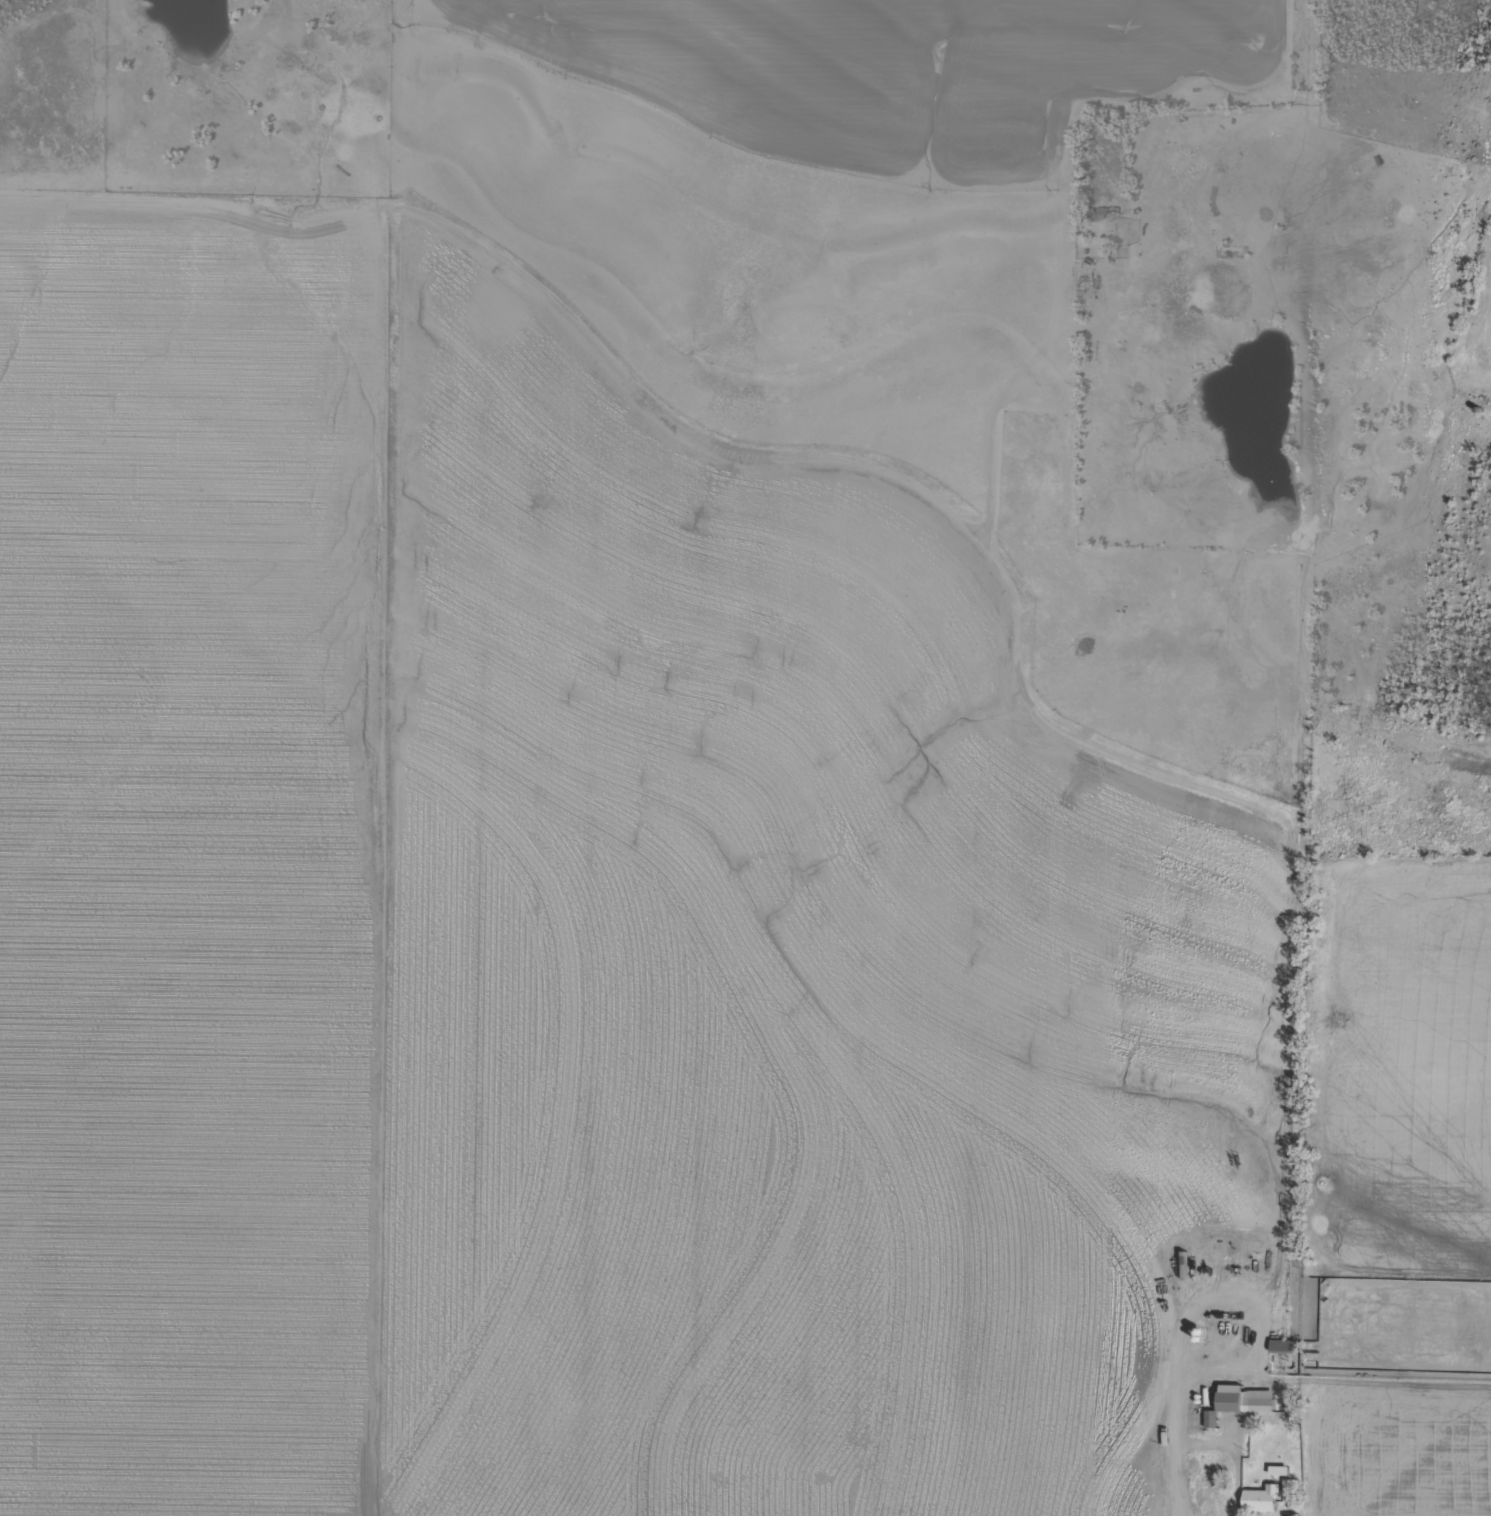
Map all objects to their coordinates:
building: (1102, 214)
building: (1281, 1347)
building: (1230, 1402)
building: (1260, 1405)
building: (1210, 1419)
building: (1261, 1500)

